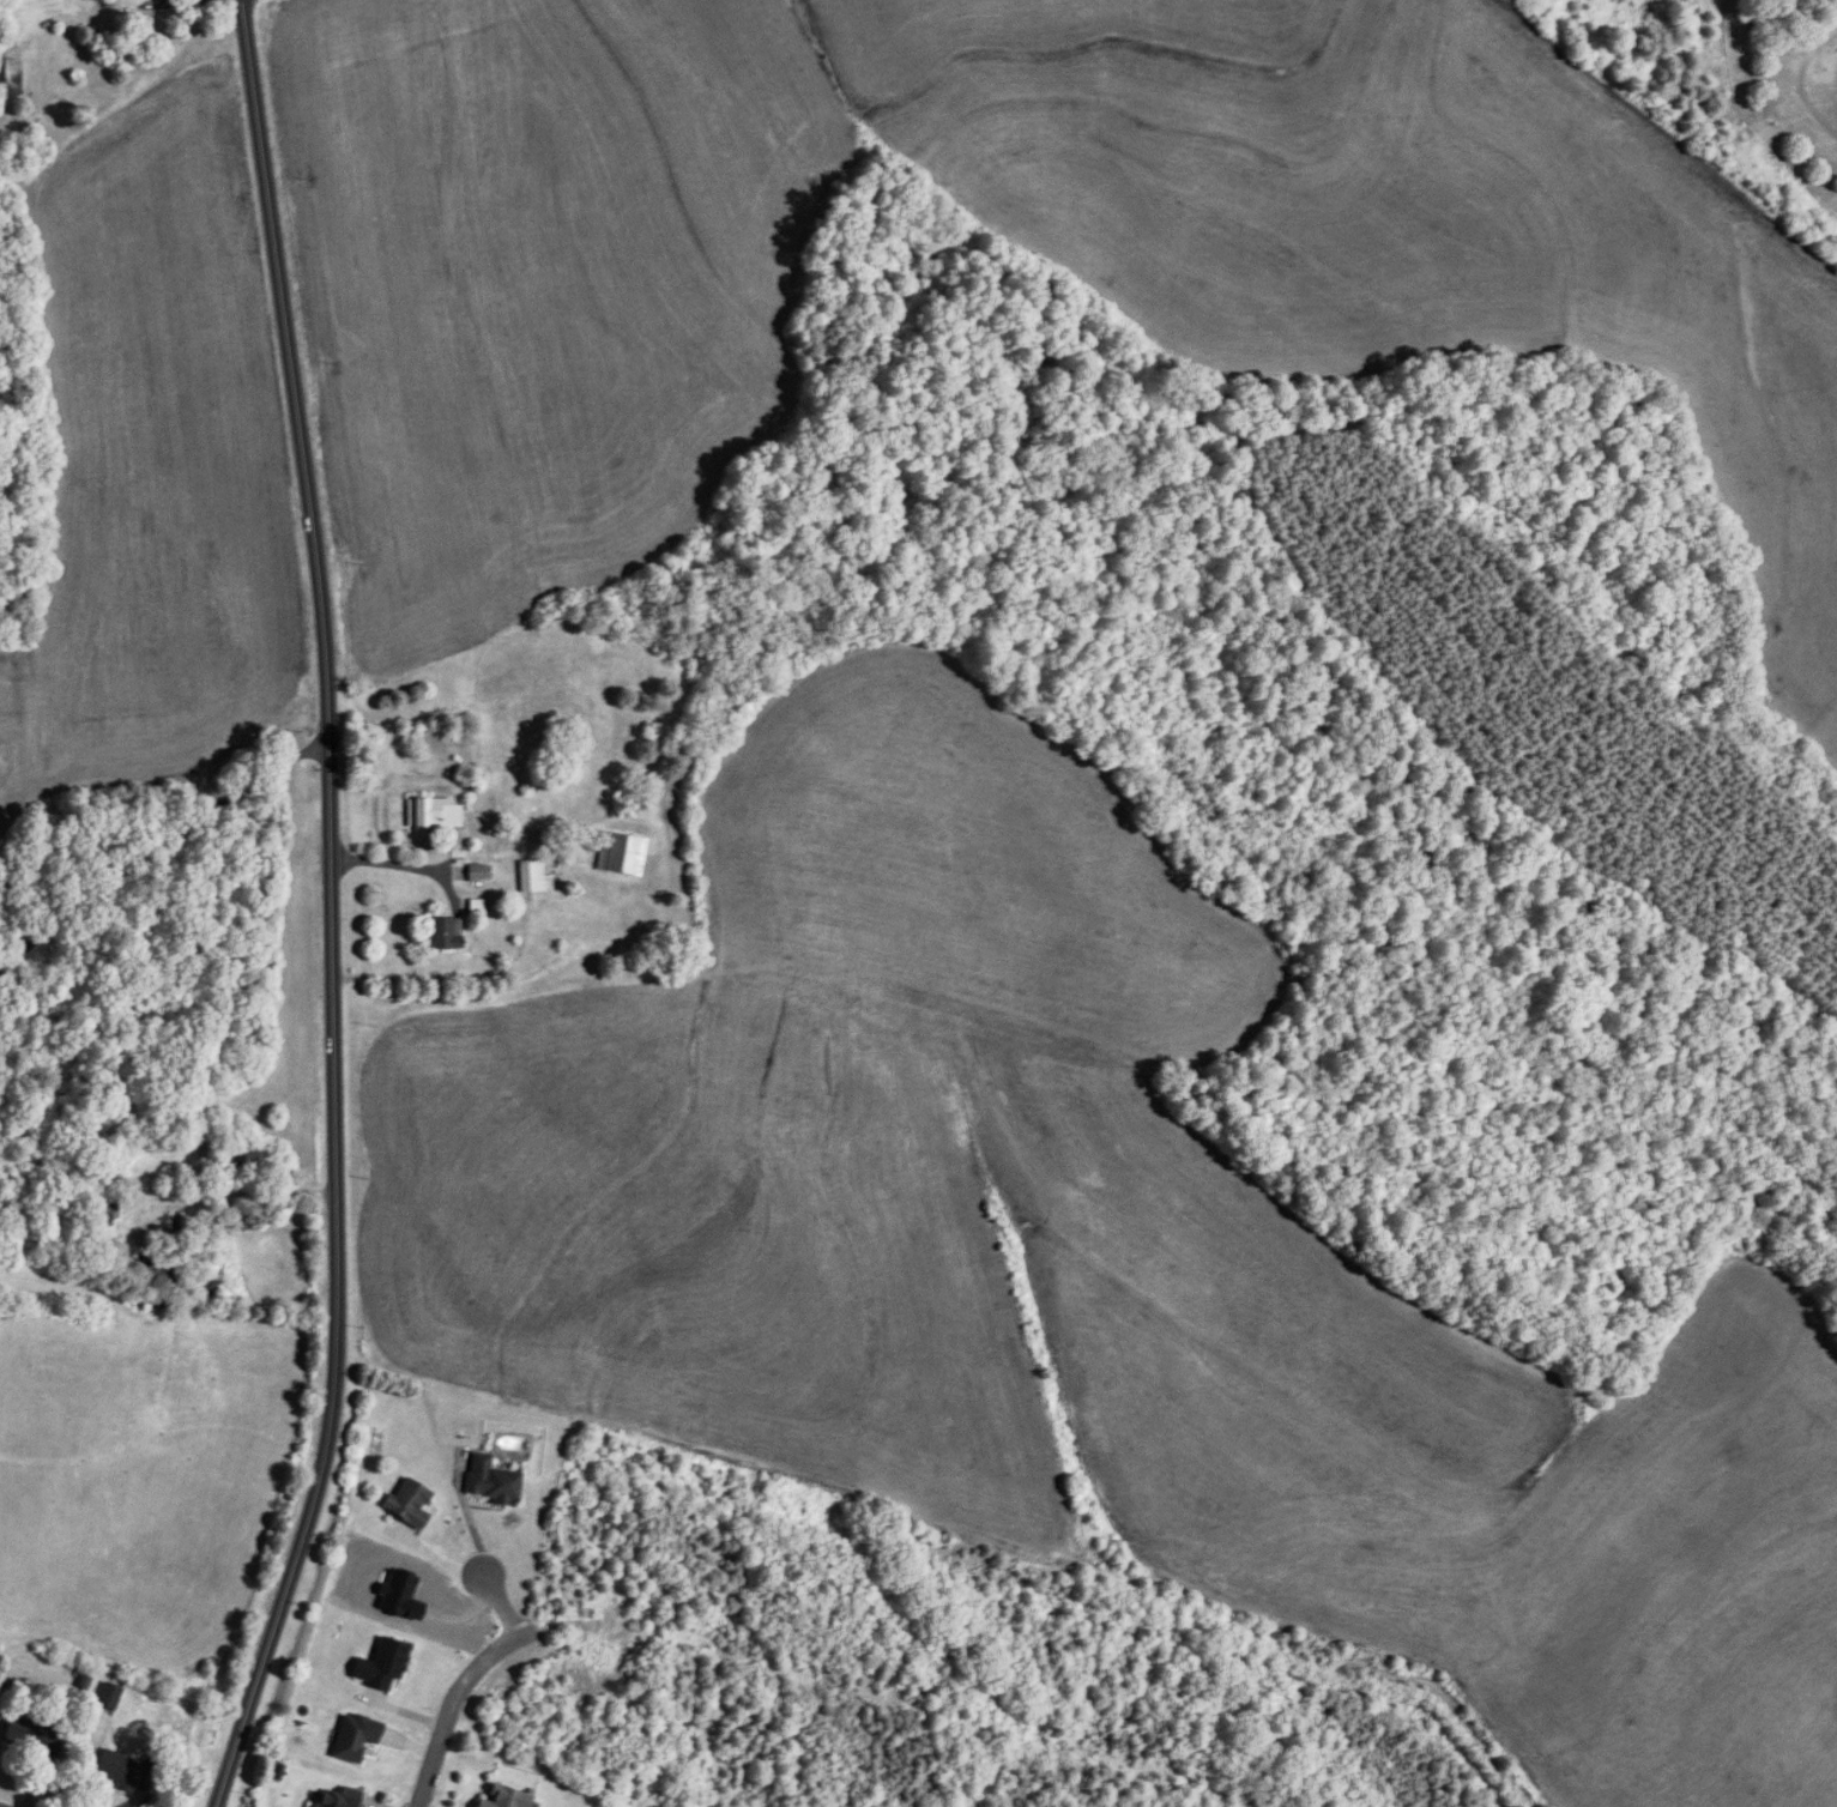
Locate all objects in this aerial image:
building: (12, 74)
building: (433, 812)
road: (159, 830)
building: (621, 853)
road: (395, 864)
building: (533, 877)
road: (330, 908)
building: (445, 933)
building: (240, 1160)
building: (102, 1216)
building: (156, 1269)
building: (211, 1286)
building: (490, 1481)
building: (409, 1503)
road: (466, 1513)
road: (501, 1606)
building: (380, 1664)
building: (109, 1697)
road: (454, 1700)
building: (353, 1736)
building: (35, 1737)
building: (125, 1772)
building: (336, 1797)
building: (504, 1797)

